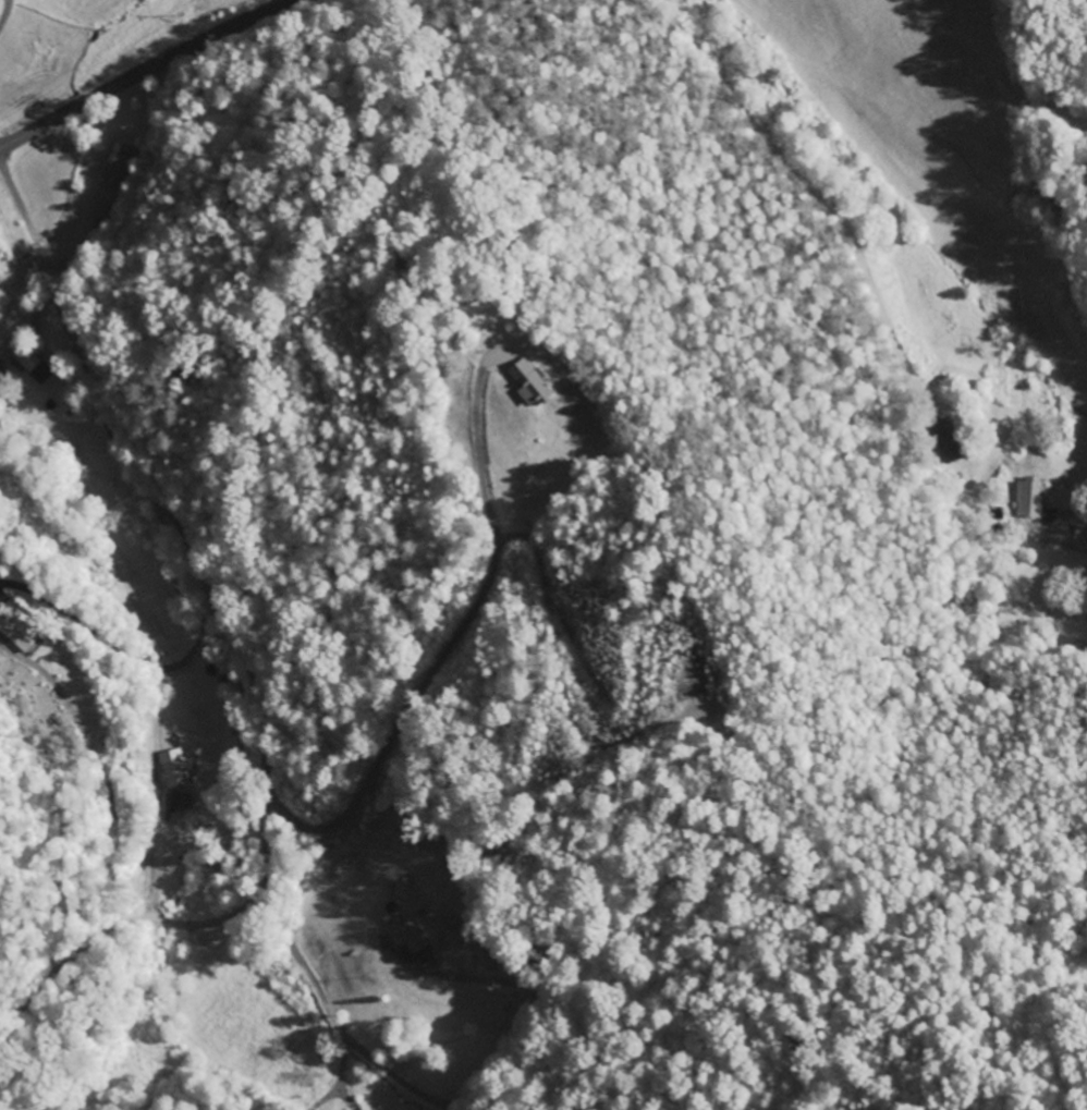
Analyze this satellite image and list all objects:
road: (3, 11)
road: (146, 72)
road: (794, 158)
building: (113, 174)
building: (25, 357)
building: (529, 381)
building: (946, 440)
building: (1029, 498)
road: (1082, 510)
building: (15, 629)
road: (242, 646)
road: (351, 763)
building: (173, 768)
building: (176, 802)
building: (412, 936)
road: (340, 1074)

